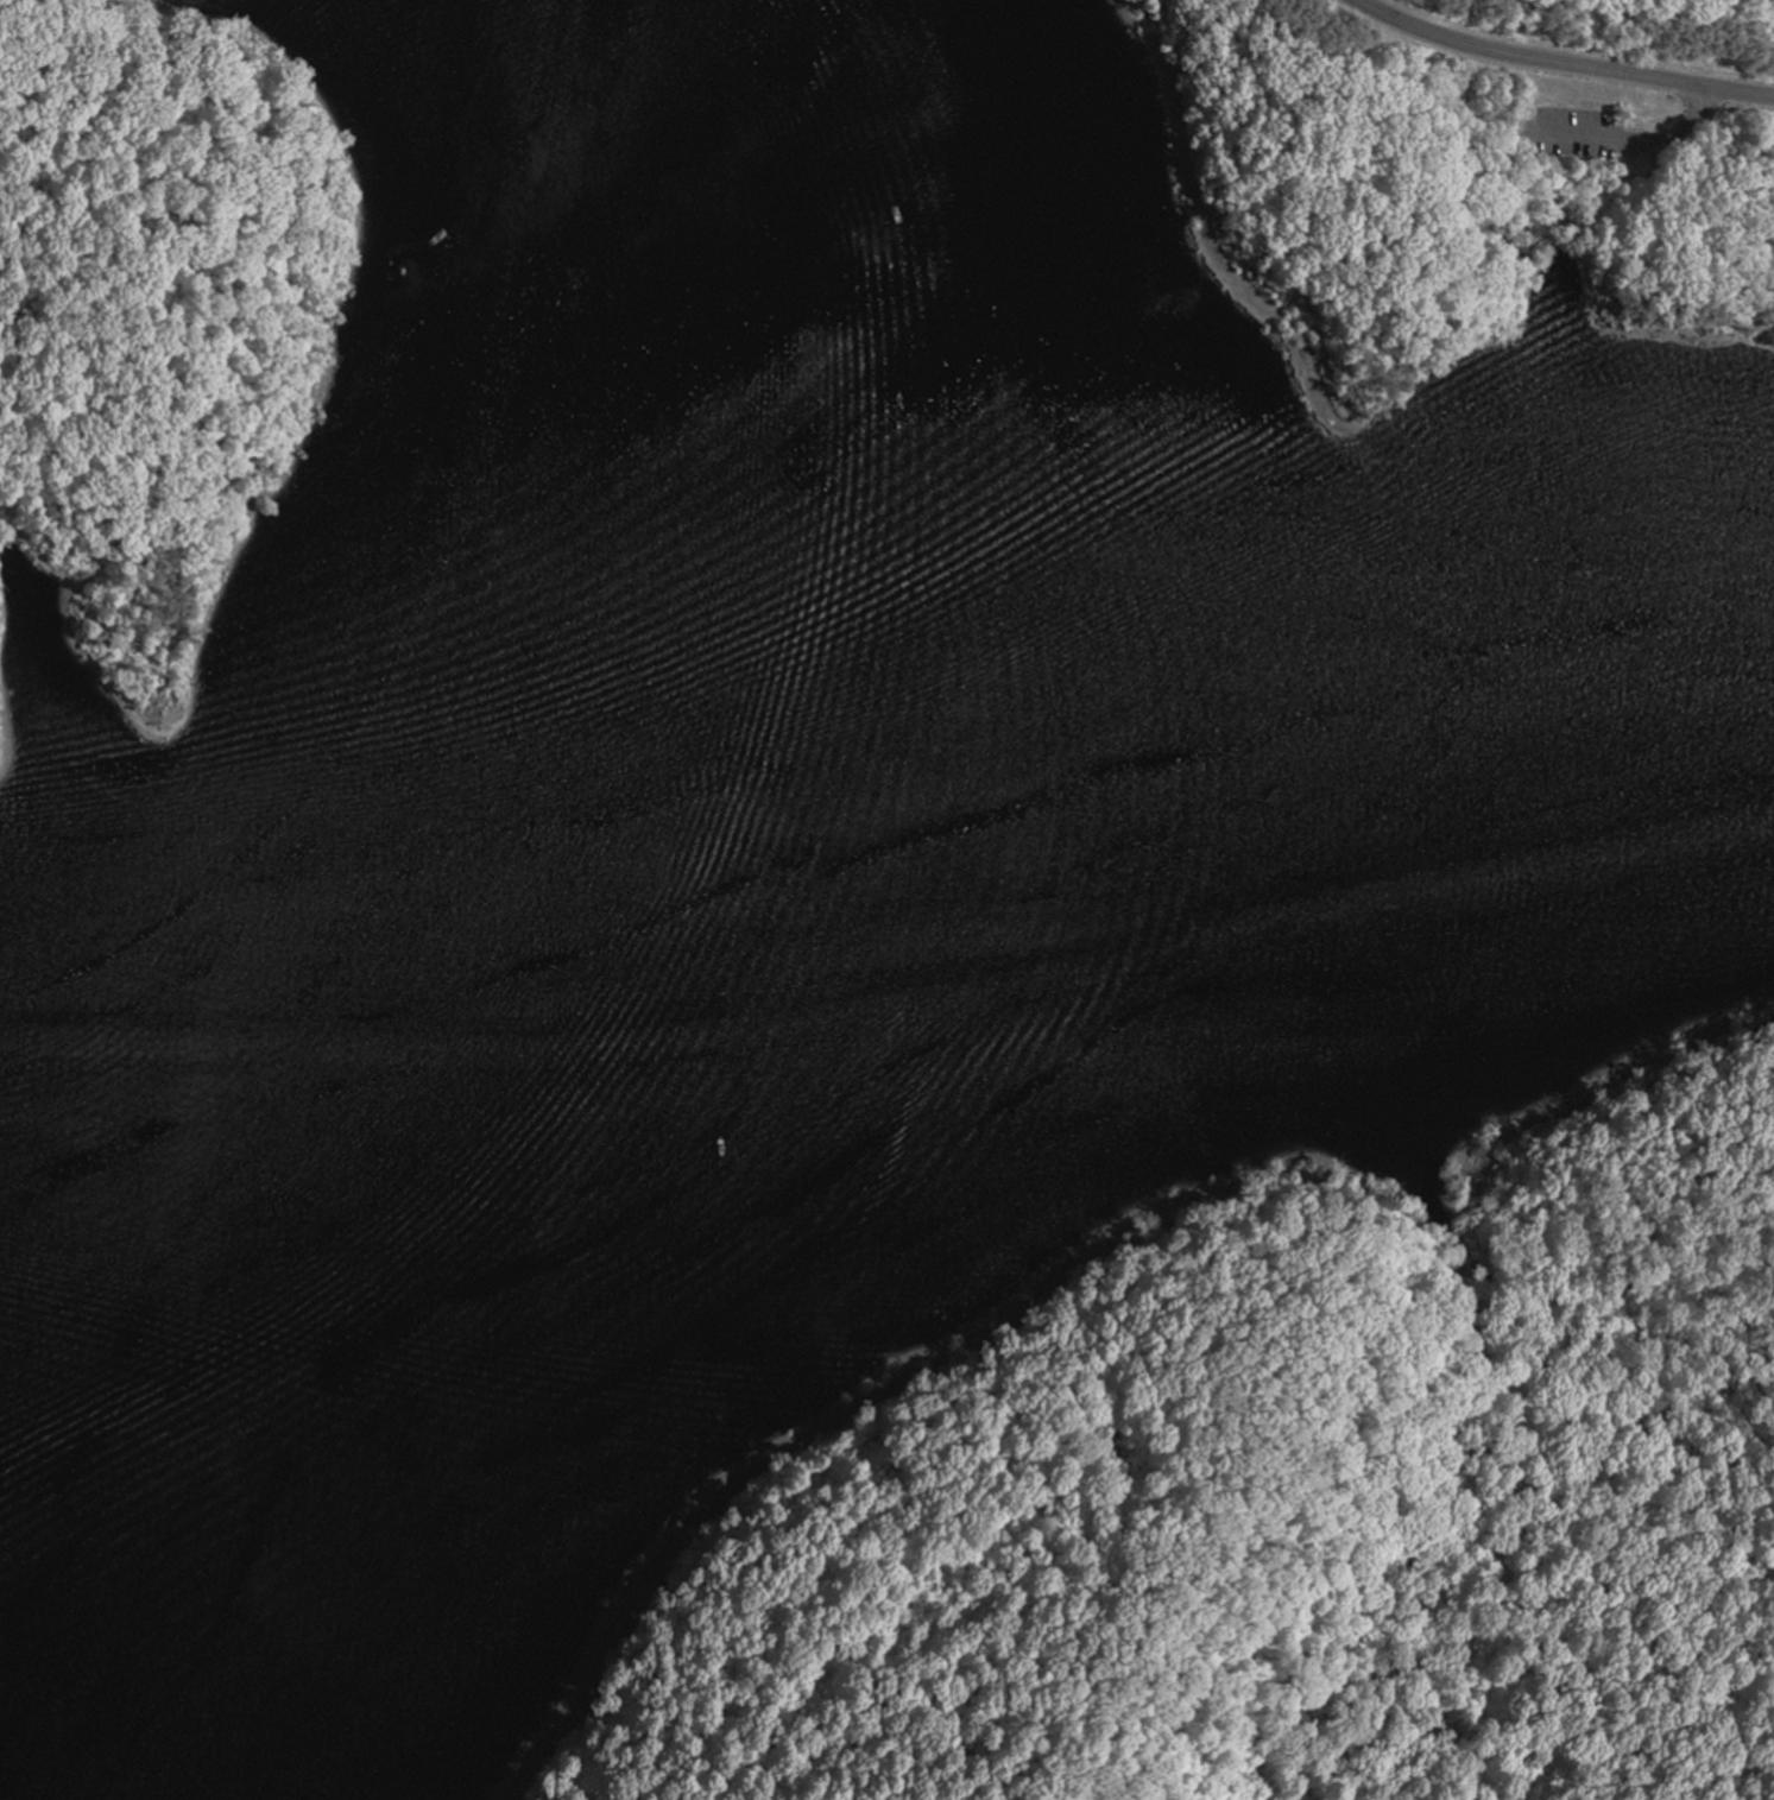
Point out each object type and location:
road: (1564, 62)
parking lot: (1578, 131)
road: (1637, 133)
road: (1634, 138)
road: (1553, 172)
road: (1692, 252)
road: (1616, 285)
road: (1308, 361)

